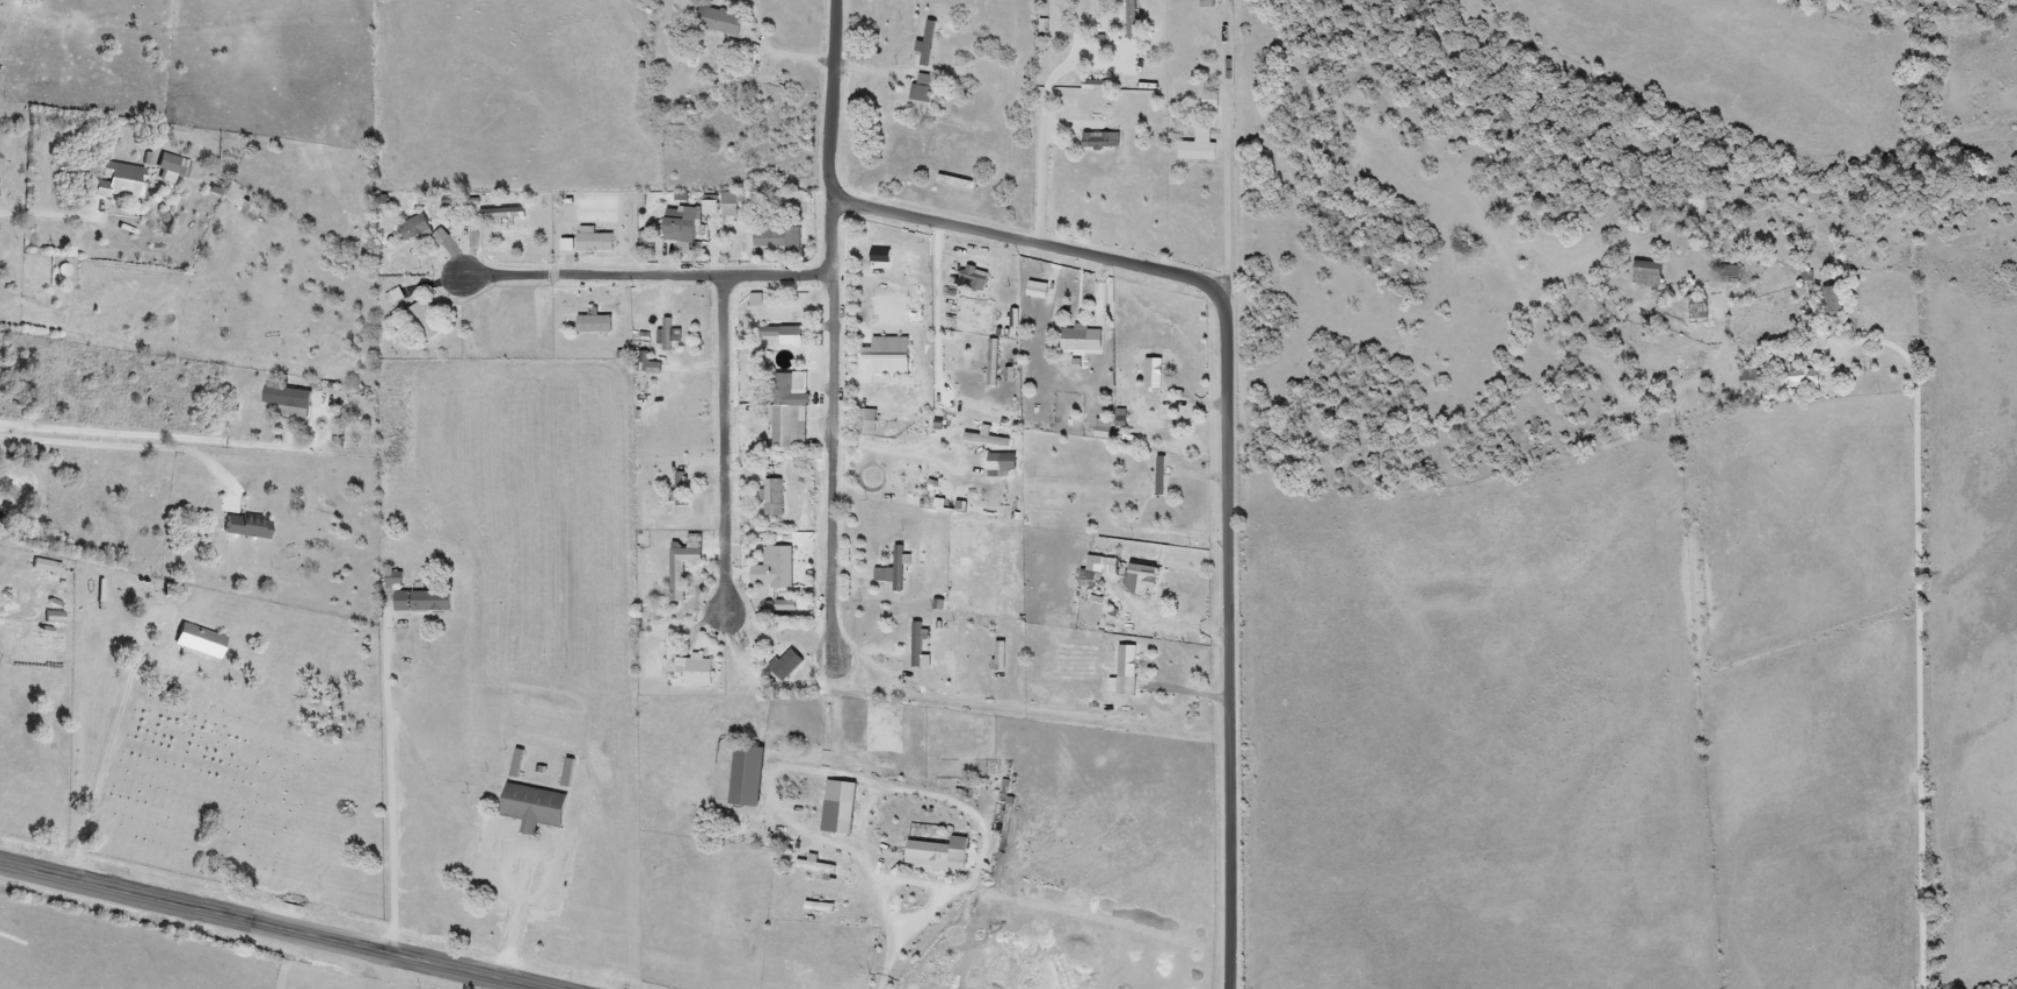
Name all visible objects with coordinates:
building: (1209, 0)
road: (4, 15)
building: (1134, 18)
building: (723, 21)
building: (931, 42)
road: (789, 56)
building: (1101, 85)
building: (927, 87)
road: (833, 97)
building: (1213, 100)
building: (1104, 140)
building: (1203, 146)
road: (1044, 170)
building: (144, 180)
building: (252, 210)
building: (495, 215)
building: (681, 225)
building: (416, 227)
building: (595, 240)
building: (781, 240)
building: (886, 256)
building: (1735, 272)
building: (1657, 273)
road: (636, 274)
building: (976, 276)
building: (1829, 300)
road: (940, 306)
building: (1033, 306)
building: (974, 311)
building: (426, 322)
building: (596, 324)
building: (782, 332)
building: (668, 334)
building: (1078, 338)
building: (781, 346)
building: (995, 362)
building: (1155, 373)
building: (1792, 376)
building: (292, 400)
building: (787, 413)
road: (828, 427)
building: (867, 427)
road: (142, 437)
road: (1228, 439)
road: (100, 447)
road: (724, 452)
building: (1010, 462)
building: (682, 489)
building: (1143, 493)
building: (776, 497)
building: (250, 525)
building: (50, 565)
building: (777, 567)
building: (684, 569)
building: (896, 570)
building: (1092, 573)
building: (1144, 578)
building: (397, 579)
building: (426, 600)
building: (57, 616)
road: (1916, 637)
building: (203, 640)
building: (920, 644)
building: (789, 664)
building: (703, 670)
building: (1129, 670)
road: (2015, 696)
road: (114, 743)
building: (519, 761)
building: (753, 775)
road: (392, 780)
building: (538, 807)
building: (837, 816)
road: (935, 828)
road: (835, 845)
building: (944, 854)
road: (2003, 882)
road: (518, 917)
road: (267, 926)
road: (1959, 972)

